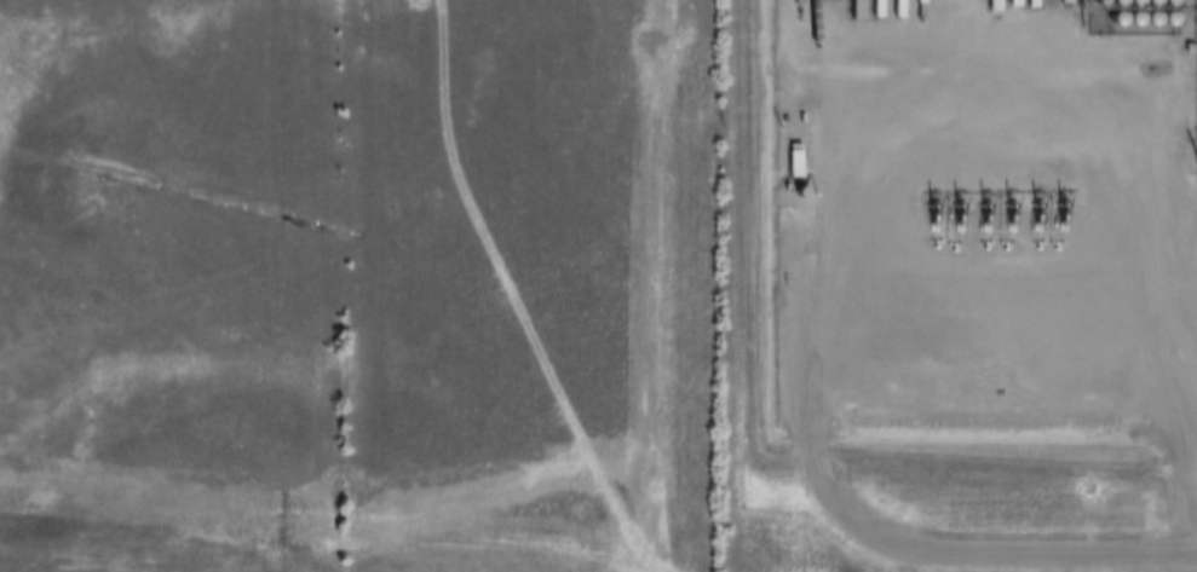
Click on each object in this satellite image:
road: (1192, 571)

